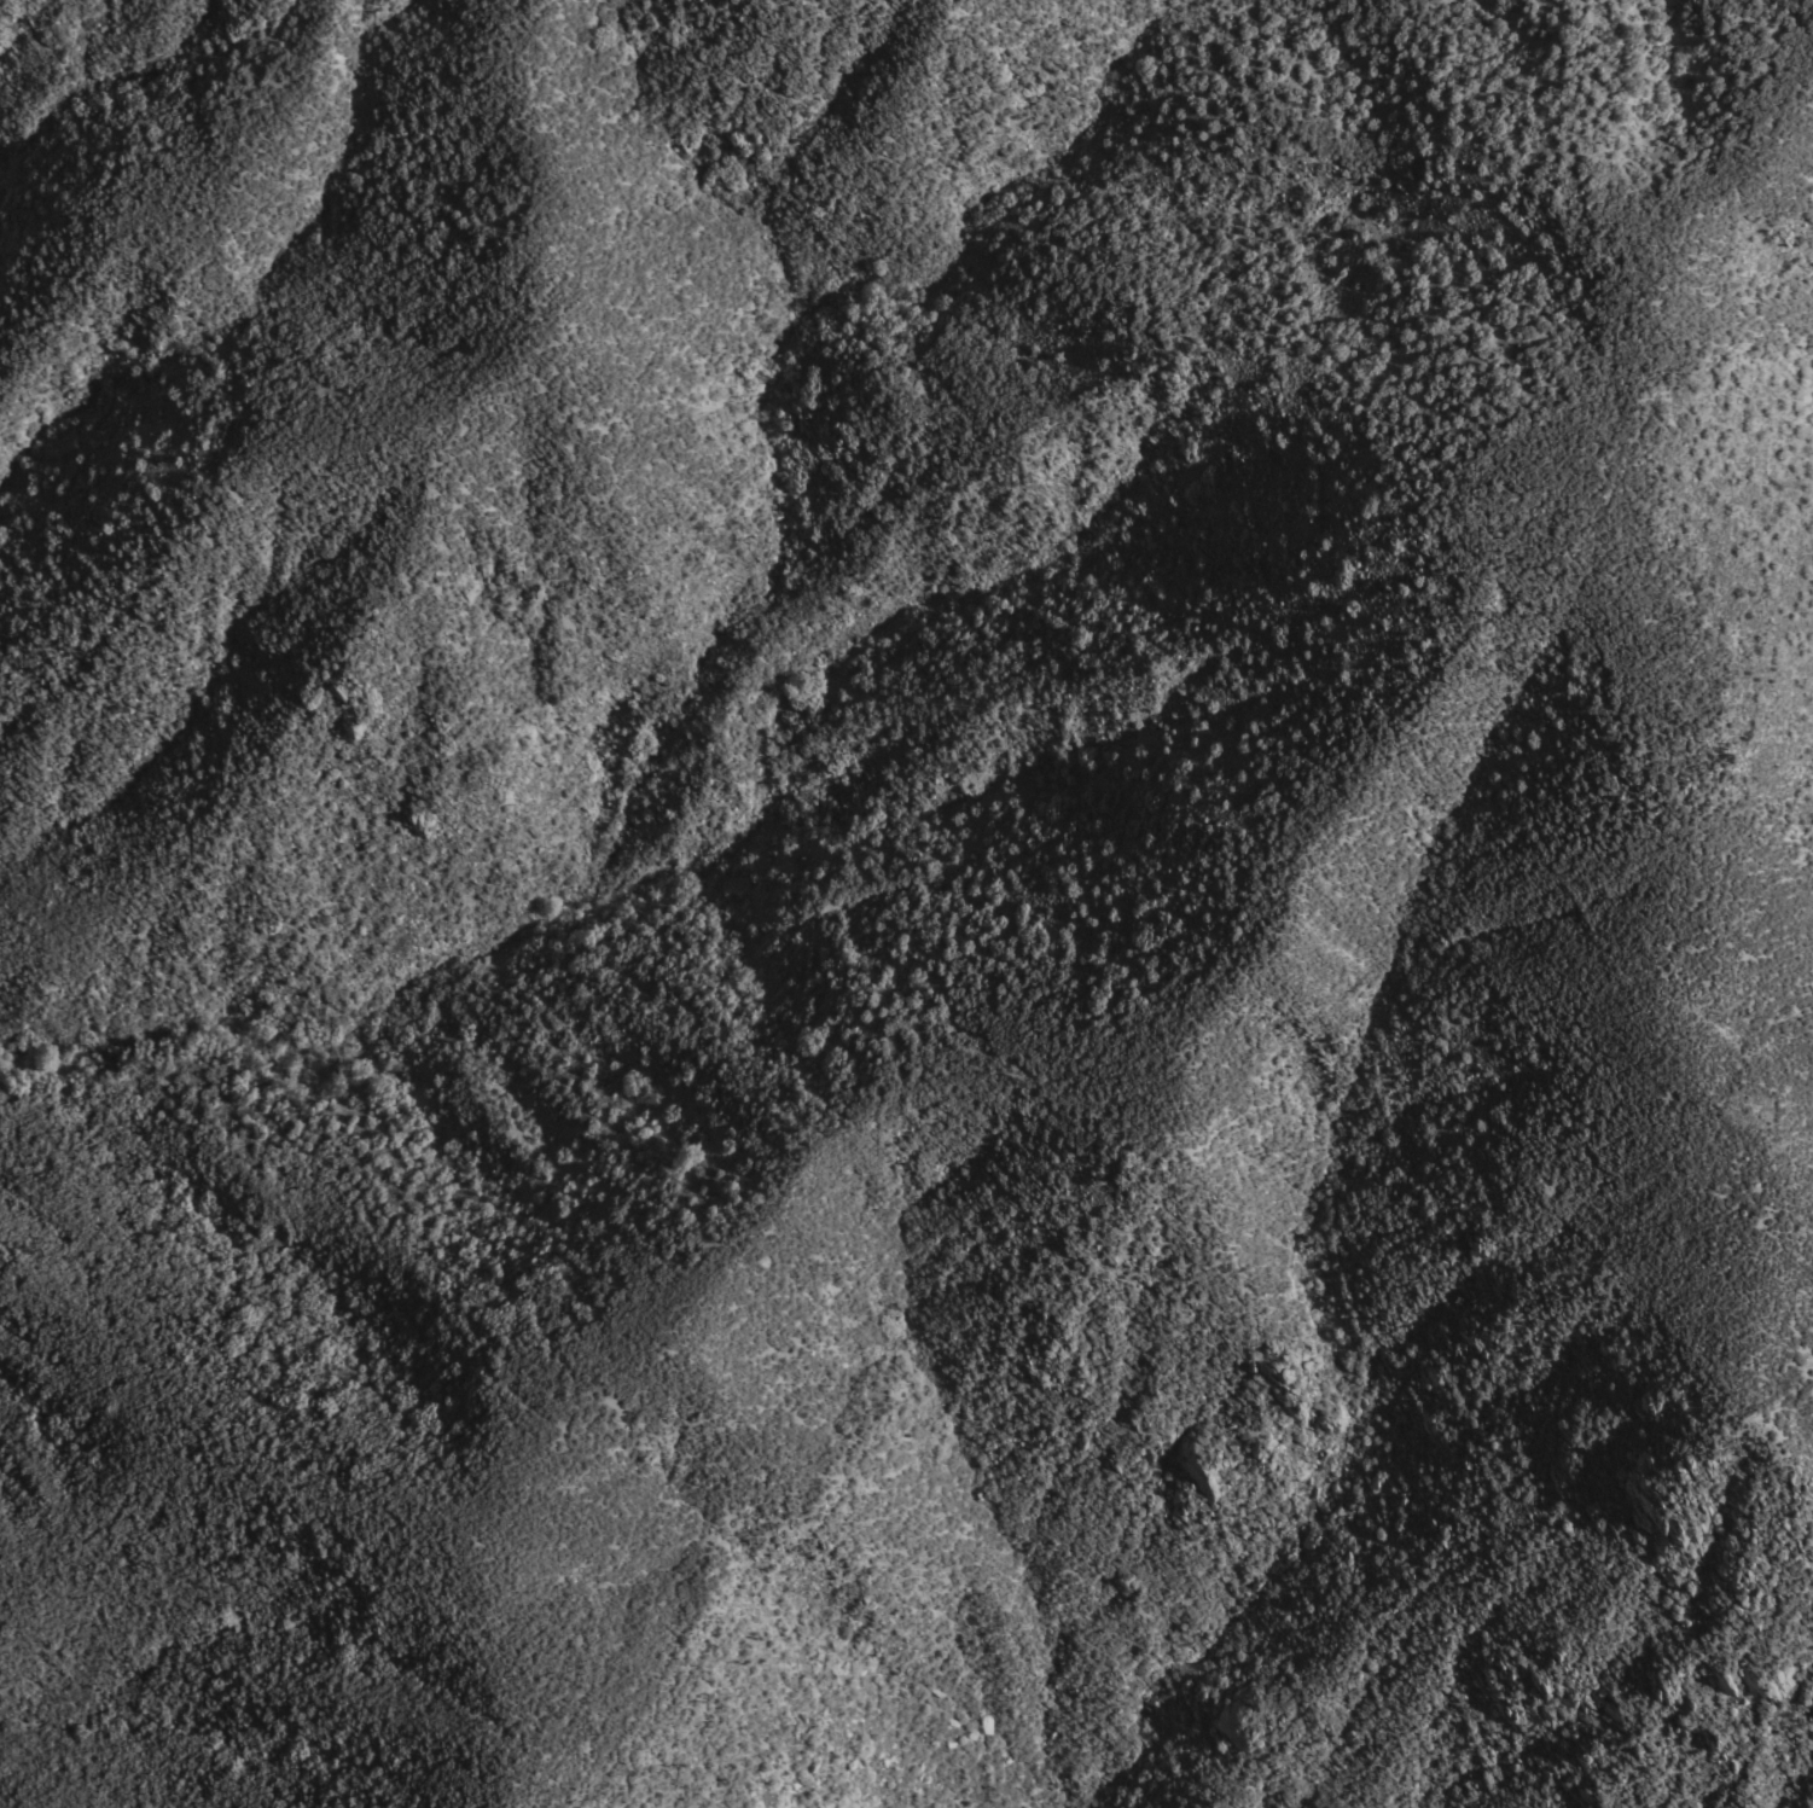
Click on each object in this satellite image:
road: (874, 152)
road: (121, 249)

